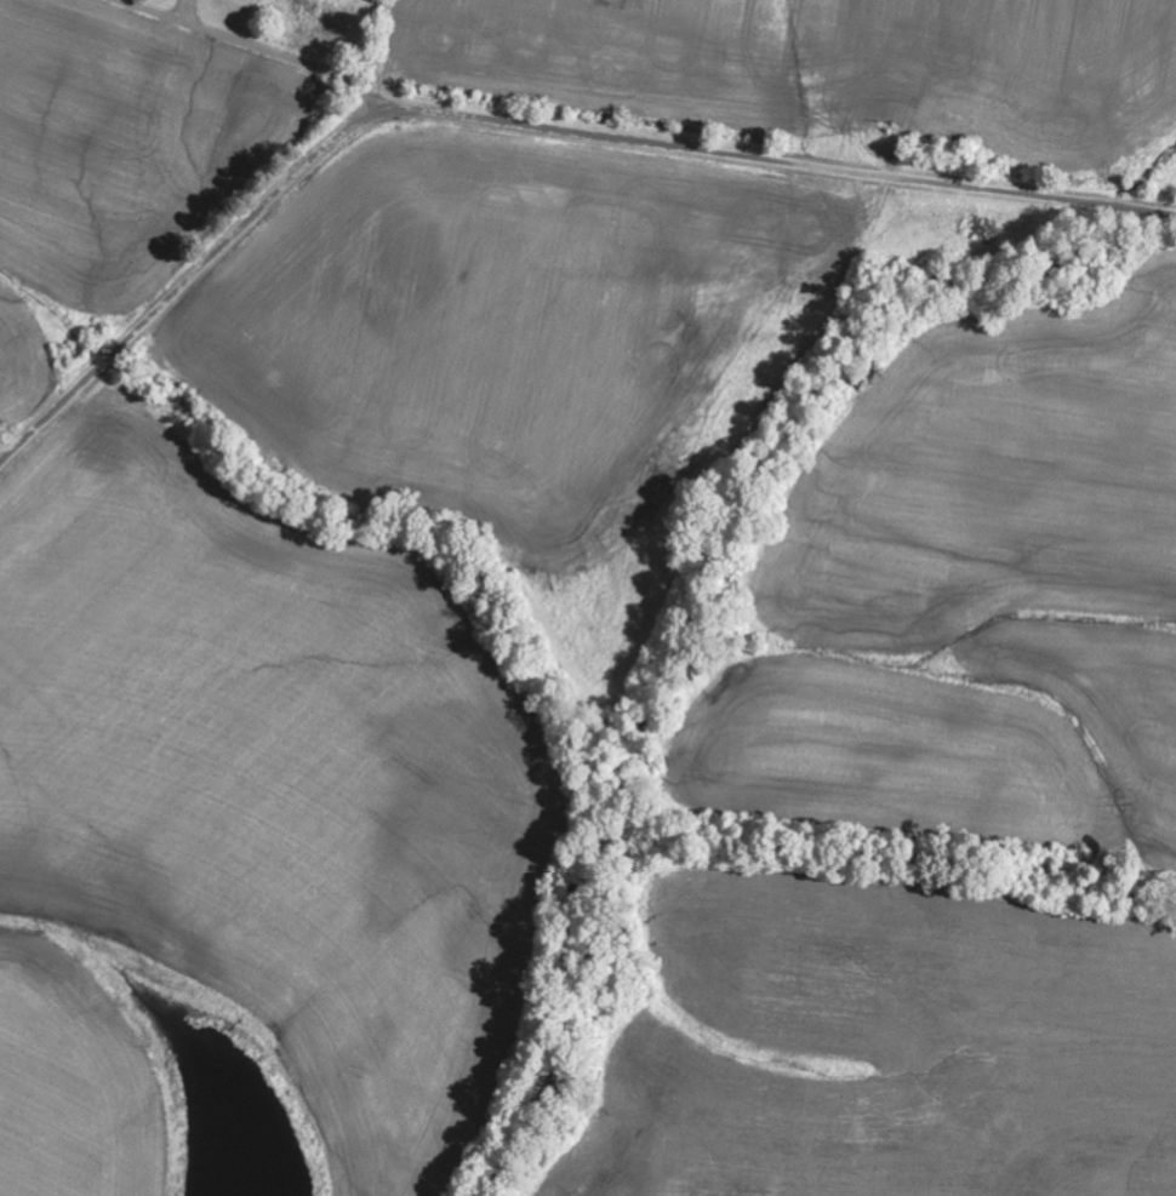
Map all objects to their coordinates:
road: (246, 46)
road: (520, 122)

